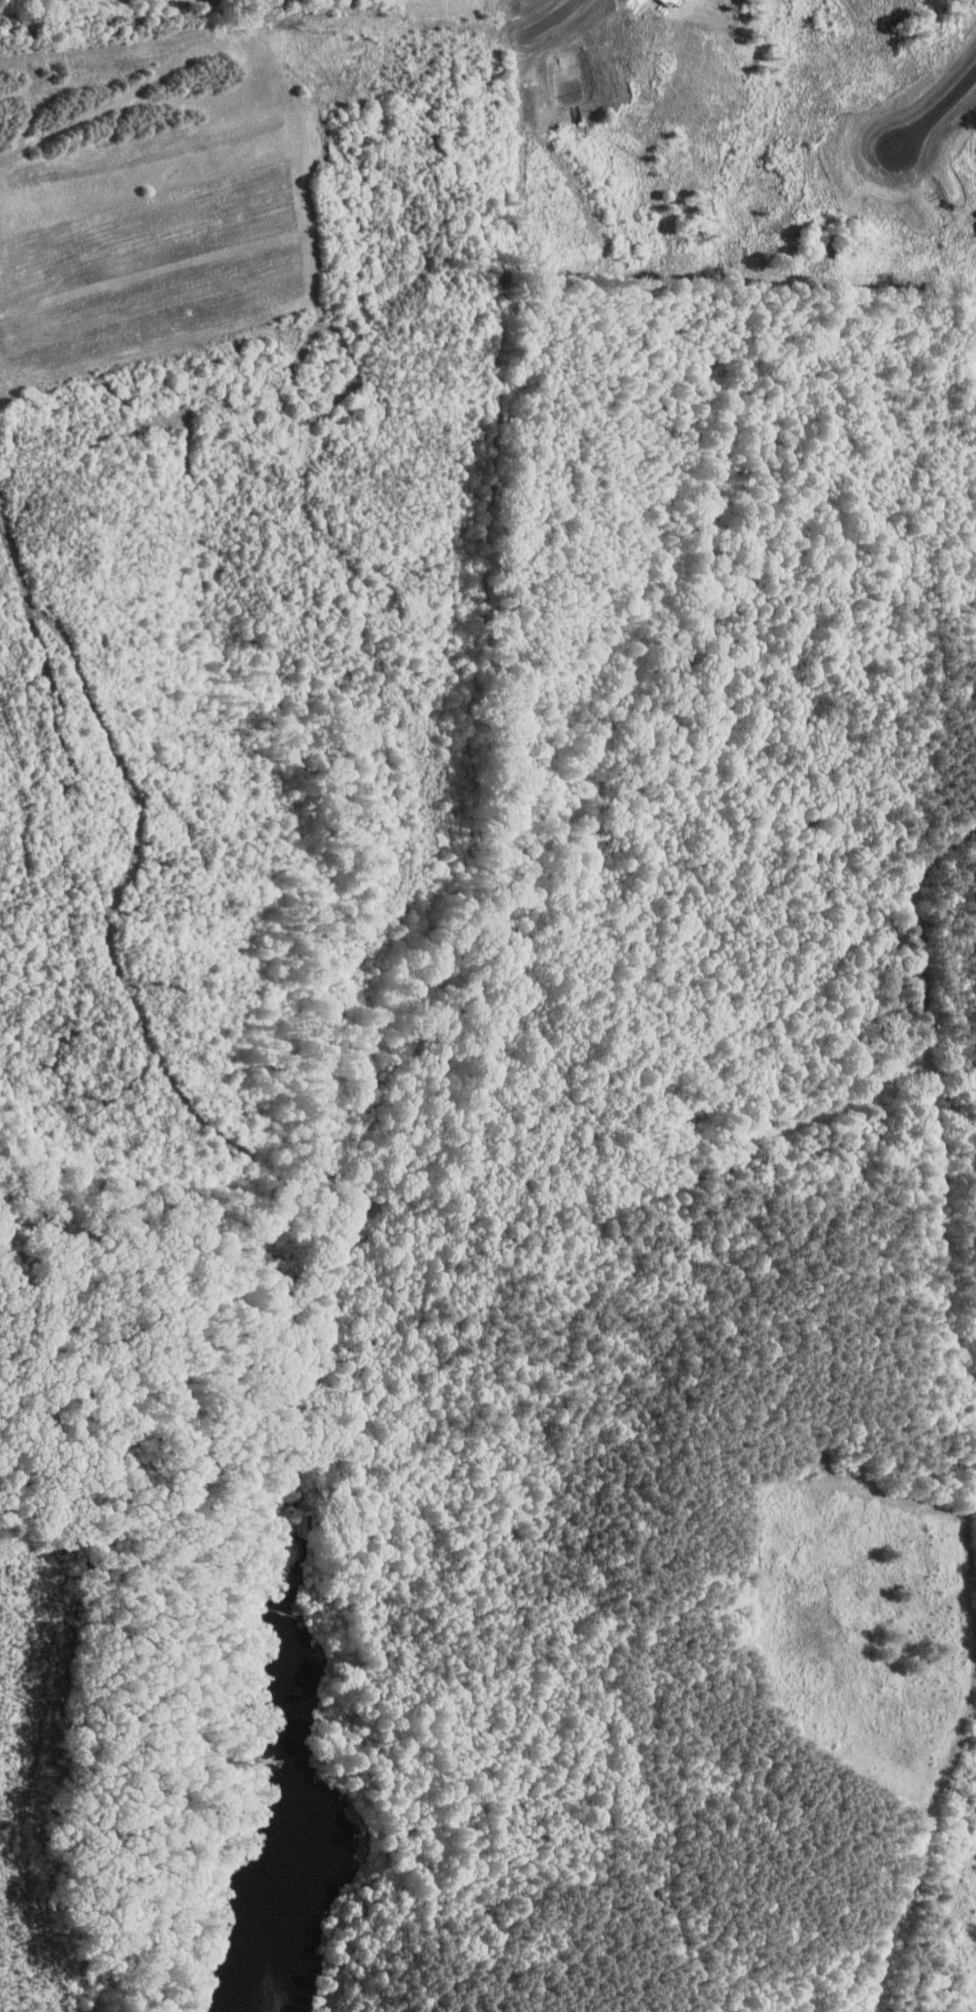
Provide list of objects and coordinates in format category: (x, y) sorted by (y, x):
road: (934, 113)
road: (313, 173)

